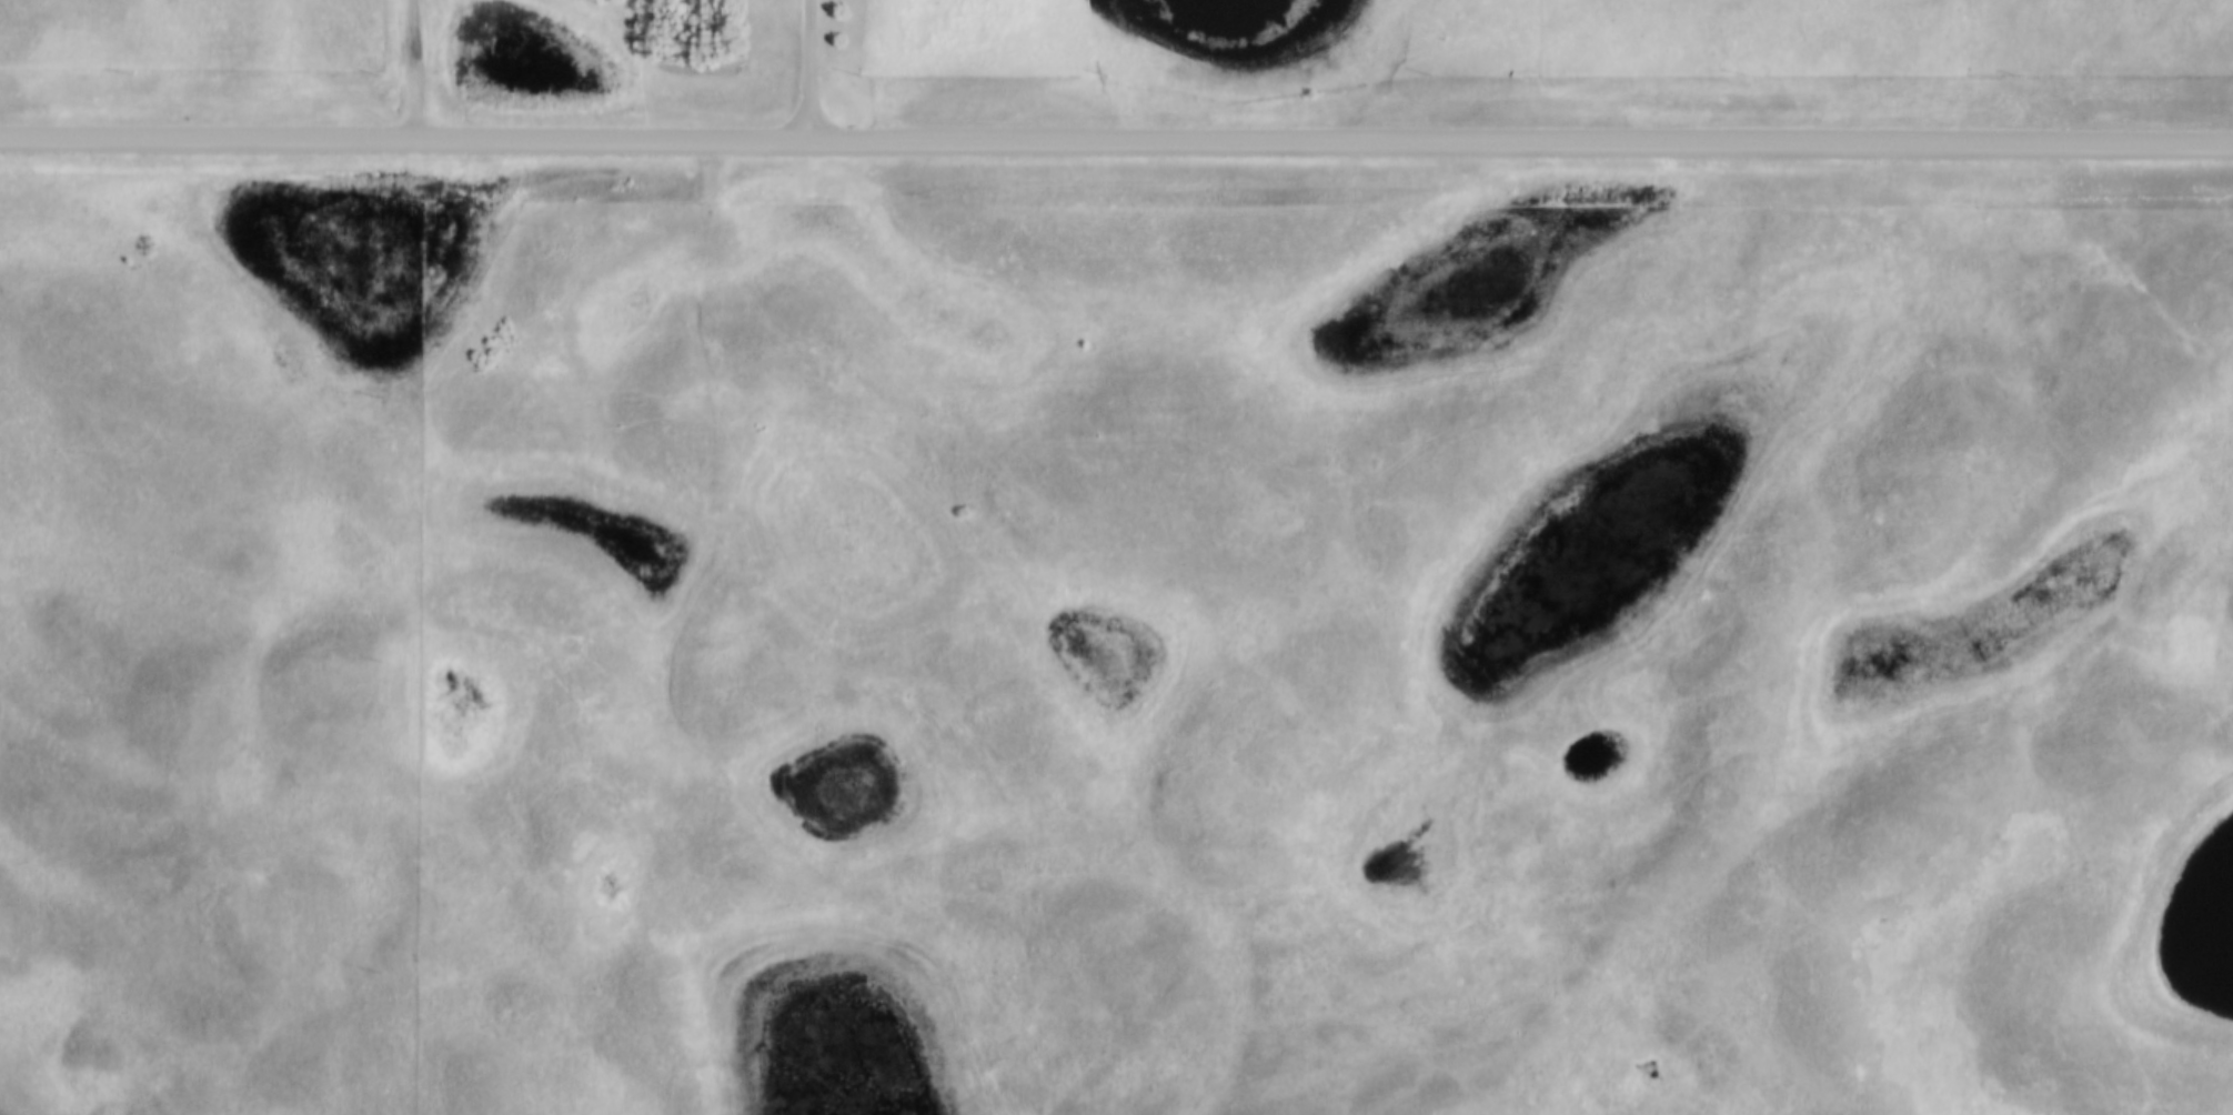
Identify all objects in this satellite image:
road: (414, 68)
road: (805, 69)
road: (1116, 138)

